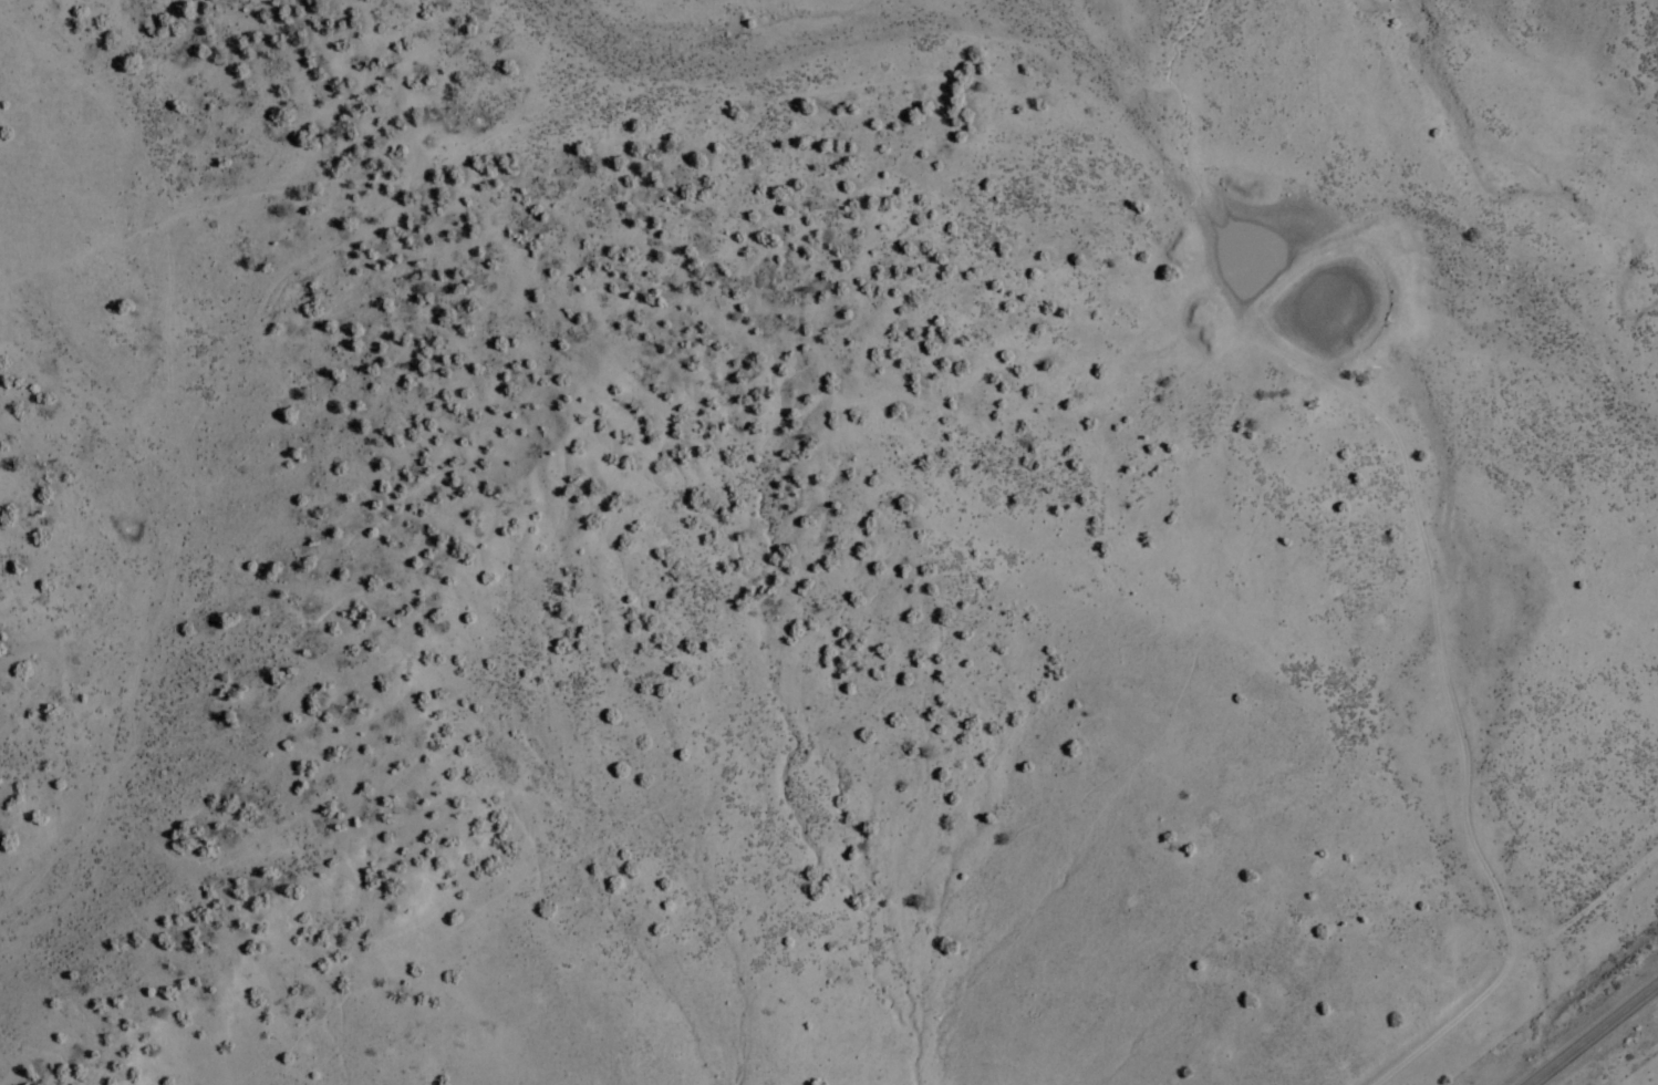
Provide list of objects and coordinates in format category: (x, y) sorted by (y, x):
road: (1587, 1030)

